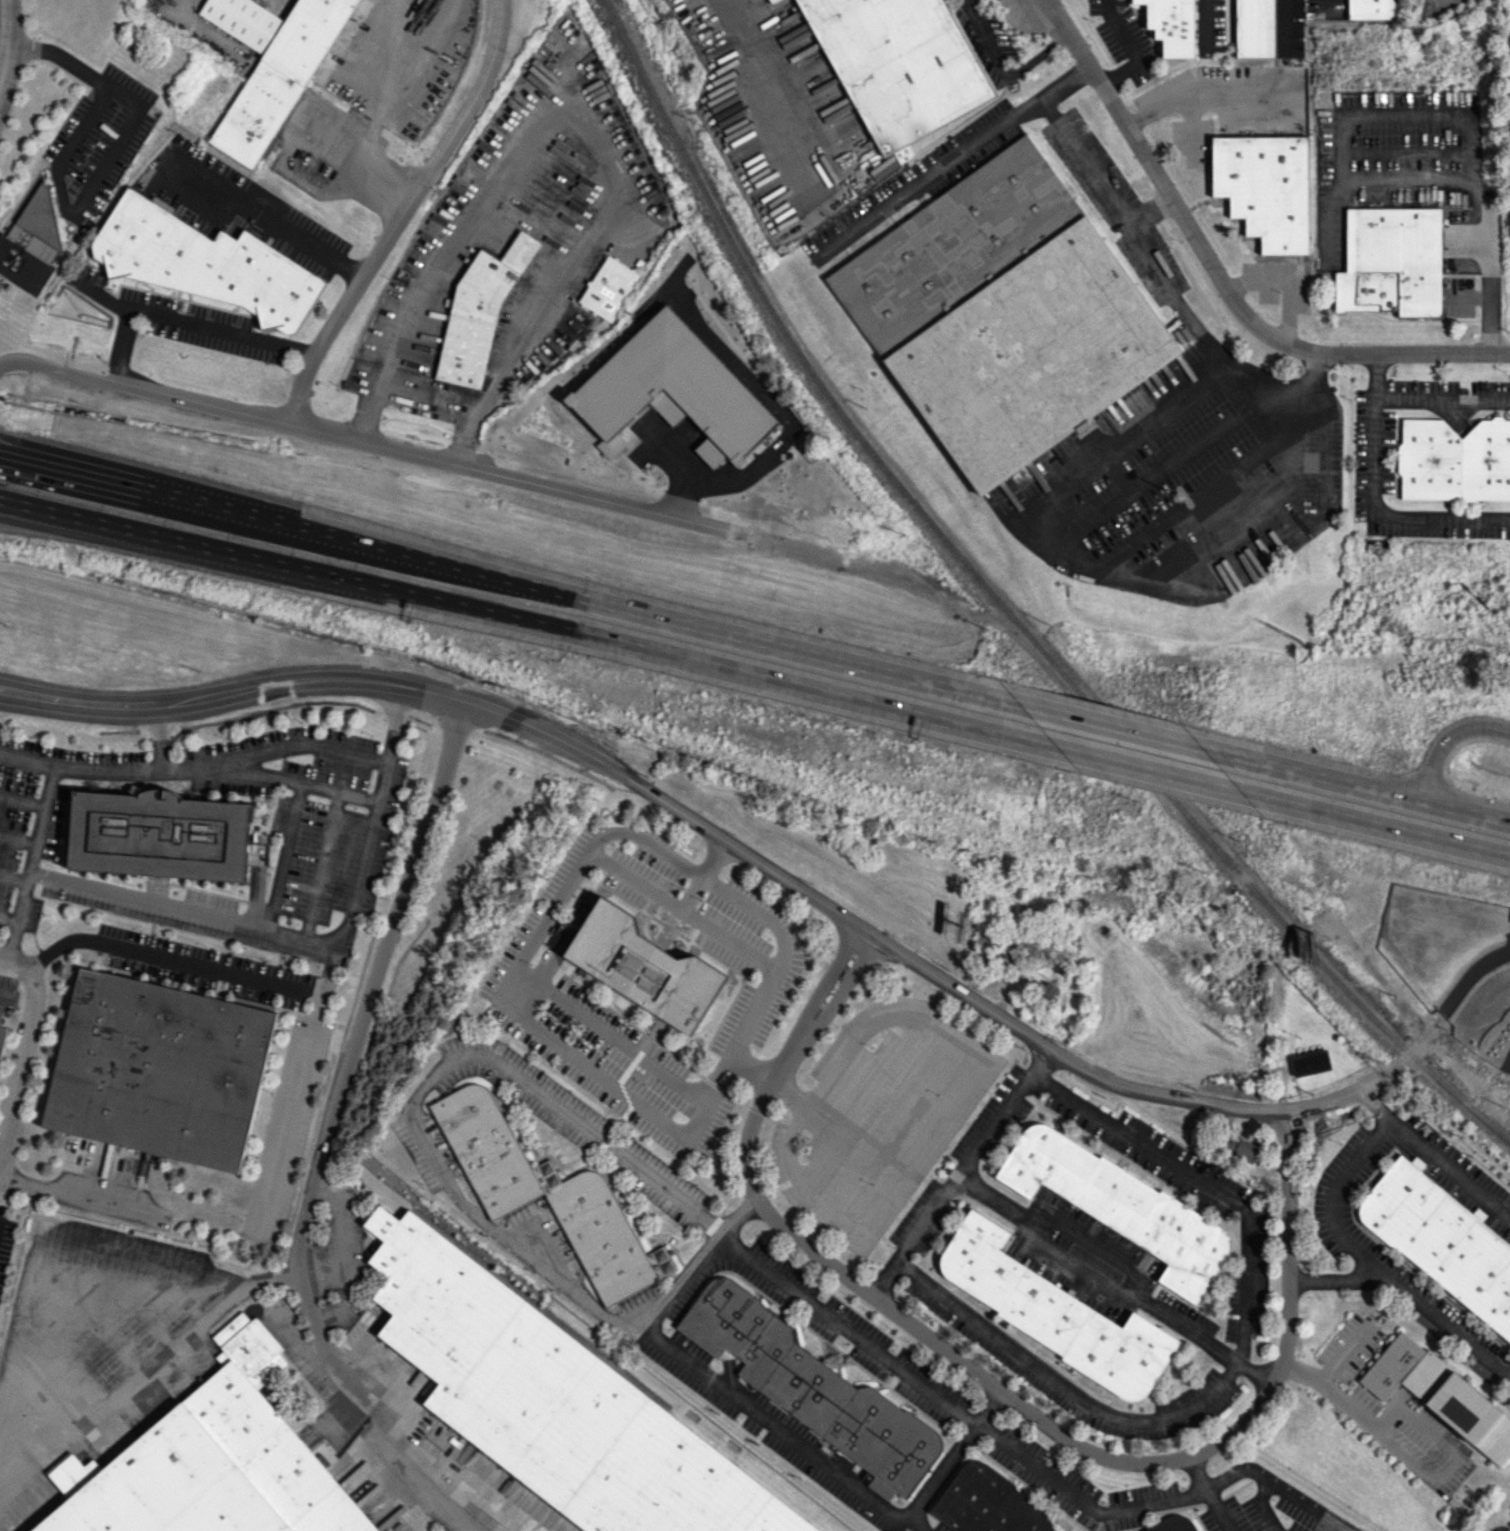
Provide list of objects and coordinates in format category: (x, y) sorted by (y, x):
road: (1000, 0)
building: (773, 1)
road: (1436, 1)
building: (1370, 9)
road: (1294, 21)
building: (1170, 25)
road: (1203, 25)
building: (1254, 28)
road: (5, 31)
road: (1129, 48)
building: (898, 65)
road: (1001, 67)
building: (270, 68)
road: (764, 88)
road: (1198, 94)
road: (380, 108)
road: (1460, 116)
road: (576, 123)
road: (328, 135)
building: (903, 153)
road: (107, 159)
road: (938, 169)
building: (1264, 188)
road: (273, 206)
road: (1145, 211)
road: (404, 213)
building: (25, 258)
building: (204, 262)
building: (1391, 262)
road: (1214, 275)
building: (608, 288)
building: (479, 311)
building: (1002, 315)
road: (194, 325)
road: (123, 347)
building: (671, 390)
road: (1251, 395)
road: (1442, 396)
road: (421, 406)
road: (348, 436)
road: (14, 448)
road: (1106, 451)
building: (1454, 460)
road: (1373, 500)
road: (18, 517)
road: (505, 576)
railway: (1006, 609)
road: (529, 627)
road: (1106, 720)
road: (157, 737)
road: (1455, 747)
road: (27, 758)
road: (219, 759)
road: (1148, 767)
road: (279, 781)
road: (1356, 781)
road: (1373, 819)
building: (157, 835)
road: (734, 843)
road: (31, 851)
road: (358, 852)
road: (280, 856)
road: (319, 865)
road: (691, 893)
road: (179, 908)
road: (682, 911)
road: (10, 942)
road: (148, 950)
road: (784, 951)
building: (642, 966)
building: (1045, 990)
road: (1459, 991)
road: (2, 997)
road: (815, 1000)
road: (507, 1001)
road: (827, 1008)
road: (356, 1025)
building: (1, 1033)
road: (610, 1033)
road: (20, 1045)
building: (1310, 1062)
building: (157, 1070)
road: (283, 1125)
road: (930, 1133)
building: (1245, 1150)
road: (1432, 1156)
road: (1208, 1183)
building: (540, 1187)
road: (78, 1196)
road: (1332, 1201)
building: (1122, 1206)
road: (737, 1213)
road: (482, 1220)
building: (1442, 1240)
road: (1045, 1244)
road: (45, 1275)
road: (882, 1277)
road: (676, 1283)
road: (212, 1287)
road: (1410, 1295)
building: (1056, 1312)
road: (1017, 1349)
road: (1353, 1352)
road: (151, 1365)
building: (812, 1386)
building: (1439, 1394)
building: (554, 1404)
road: (986, 1406)
road: (1064, 1435)
road: (410, 1446)
road: (1018, 1454)
road: (1421, 1458)
building: (211, 1463)
road: (939, 1471)
building: (880, 1488)
road: (1207, 1493)
building: (988, 1503)
road: (1260, 1506)
building: (1173, 1524)

